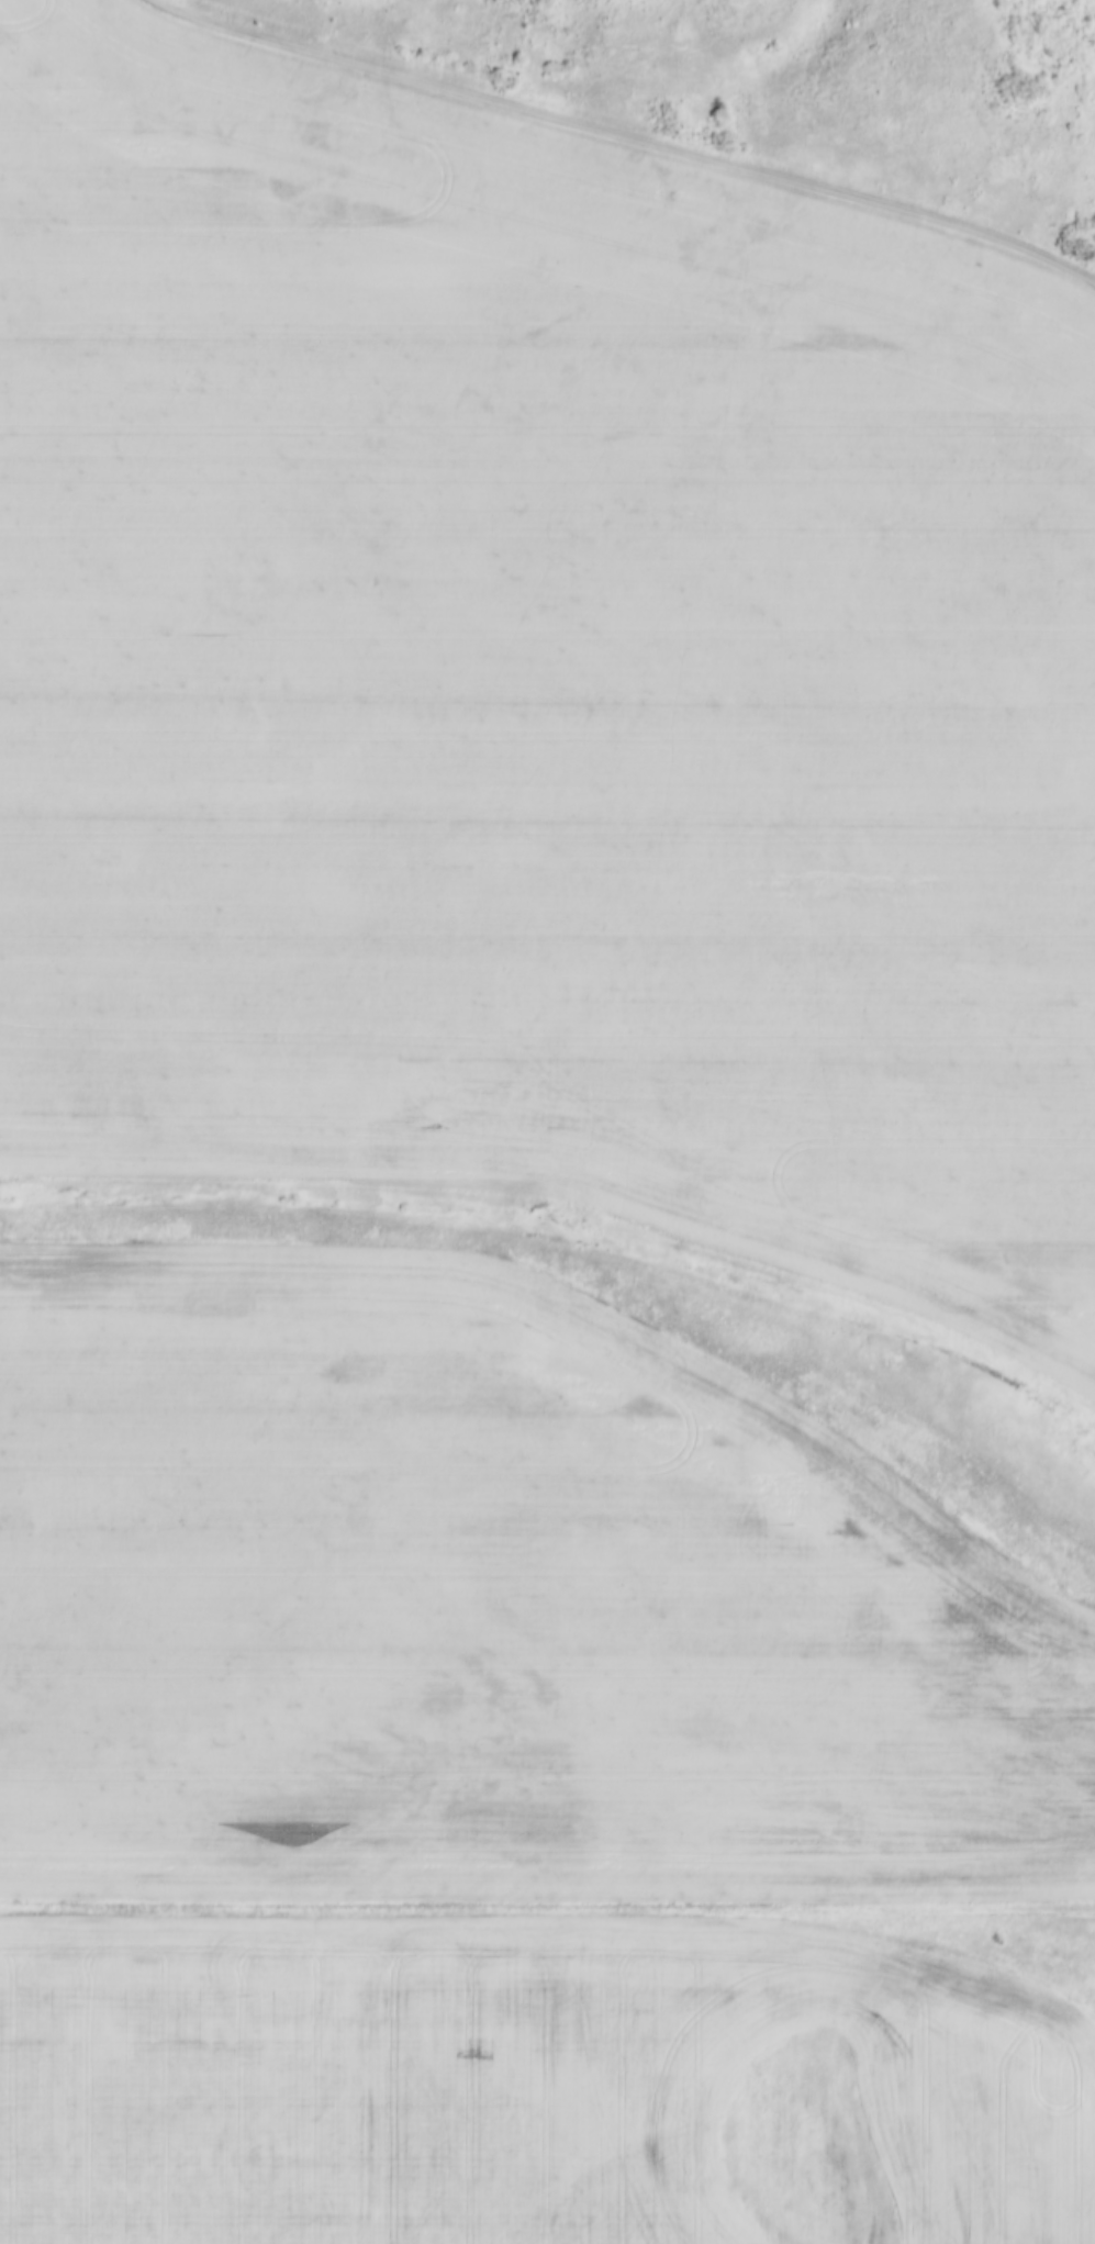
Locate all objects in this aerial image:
road: (640, 125)

